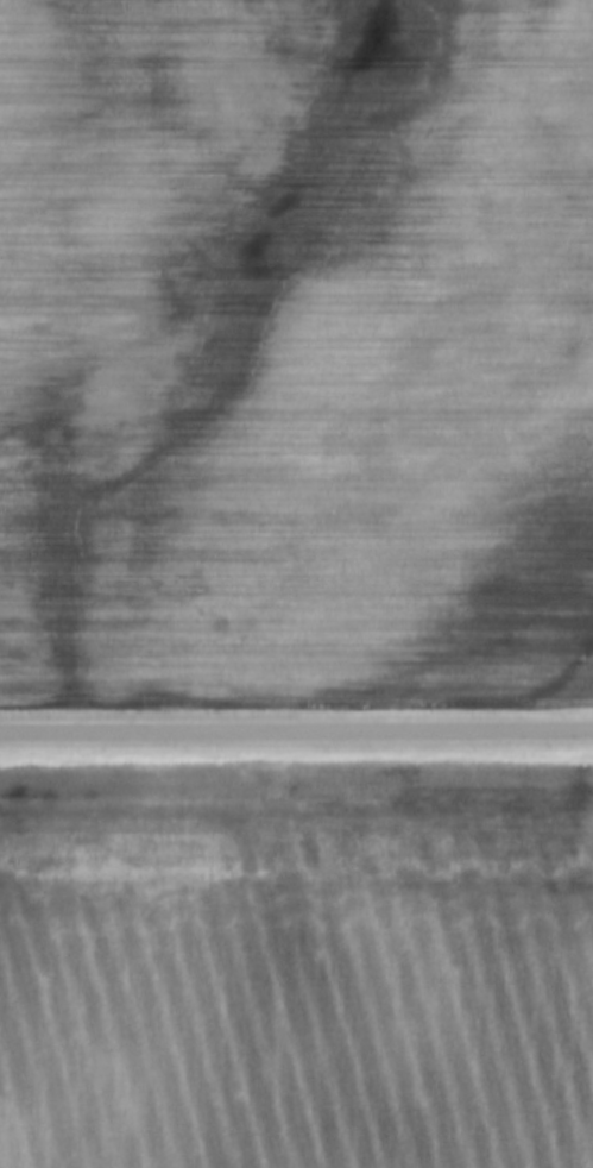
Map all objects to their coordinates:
road: (296, 729)

